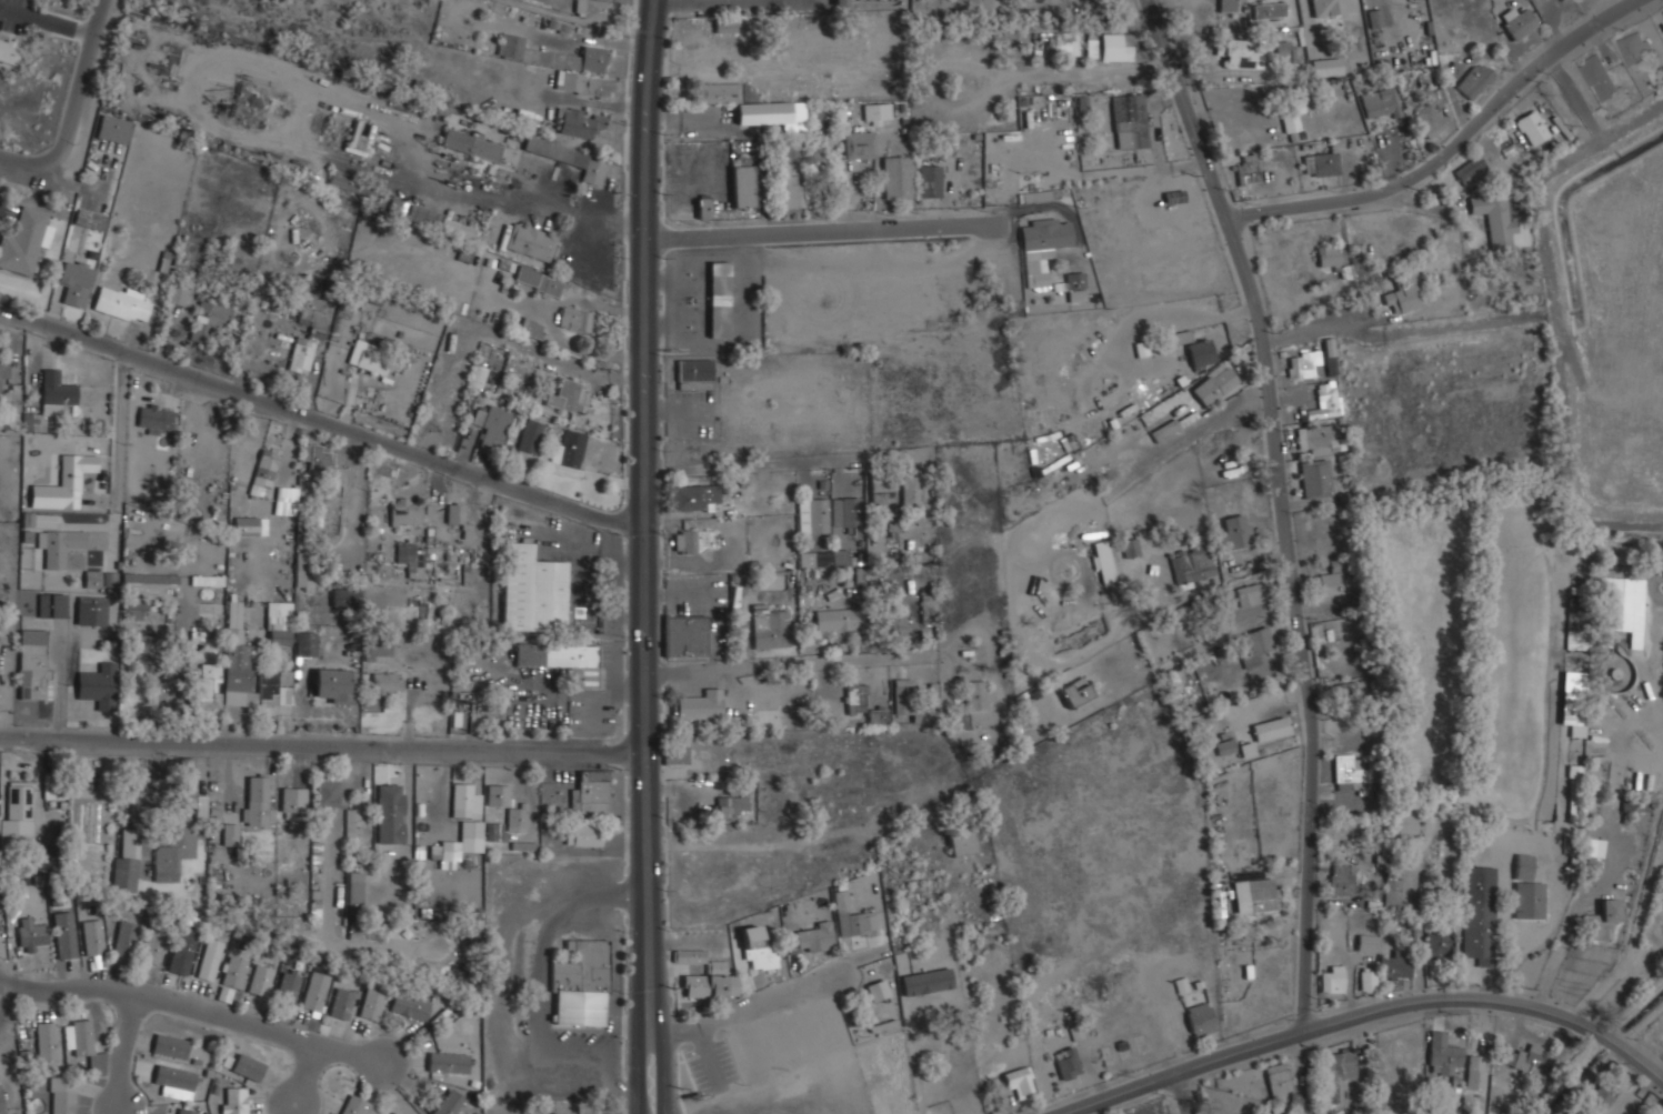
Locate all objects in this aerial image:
building: (1562, 0)
road: (698, 1)
road: (705, 2)
building: (841, 2)
building: (1228, 6)
building: (1333, 7)
building: (593, 9)
building: (1270, 9)
building: (1375, 18)
building: (1521, 23)
building: (725, 24)
building: (1066, 43)
building: (1092, 46)
building: (699, 48)
building: (1113, 48)
building: (1635, 48)
building: (9, 50)
building: (1236, 52)
building: (1284, 52)
building: (564, 66)
building: (1326, 67)
building: (1600, 78)
building: (1475, 80)
building: (1381, 102)
building: (750, 103)
road: (74, 104)
building: (876, 113)
building: (1291, 116)
building: (1430, 120)
building: (1130, 121)
building: (580, 122)
building: (113, 128)
building: (1532, 128)
building: (360, 138)
building: (471, 143)
building: (859, 144)
road: (1449, 149)
building: (570, 158)
building: (1322, 163)
building: (1248, 169)
building: (1471, 169)
building: (898, 177)
building: (930, 180)
building: (351, 185)
building: (743, 185)
building: (787, 188)
building: (1175, 195)
building: (398, 207)
building: (703, 207)
building: (90, 219)
building: (1495, 219)
building: (439, 222)
road: (823, 230)
building: (24, 241)
building: (530, 241)
building: (1043, 247)
building: (1338, 260)
building: (539, 281)
building: (74, 282)
building: (1075, 285)
building: (1404, 293)
building: (177, 294)
building: (719, 299)
building: (123, 303)
building: (575, 319)
building: (208, 320)
building: (532, 328)
building: (308, 339)
building: (1192, 352)
building: (372, 359)
building: (1302, 363)
building: (1331, 365)
building: (483, 369)
building: (694, 373)
building: (1215, 385)
building: (9, 390)
building: (568, 395)
building: (1323, 399)
building: (52, 400)
building: (157, 419)
road: (317, 419)
building: (492, 425)
building: (1165, 429)
building: (531, 432)
road: (121, 435)
building: (1319, 439)
building: (569, 449)
building: (315, 459)
road: (774, 463)
building: (266, 469)
building: (339, 476)
building: (1315, 478)
building: (64, 483)
building: (882, 489)
building: (291, 493)
building: (911, 493)
building: (693, 496)
road: (1284, 506)
building: (411, 513)
building: (455, 514)
building: (812, 515)
road: (1041, 515)
building: (44, 520)
building: (843, 524)
building: (250, 525)
building: (1233, 531)
building: (697, 541)
building: (59, 545)
building: (1132, 548)
road: (637, 556)
road: (651, 556)
building: (412, 559)
building: (812, 559)
building: (1103, 561)
building: (1193, 564)
building: (305, 570)
building: (151, 578)
building: (92, 579)
building: (110, 579)
building: (1334, 579)
building: (207, 580)
building: (539, 594)
building: (1250, 594)
building: (342, 596)
building: (53, 604)
building: (133, 609)
building: (92, 611)
building: (1621, 612)
building: (836, 619)
building: (279, 623)
building: (900, 624)
building: (771, 629)
building: (1576, 635)
building: (687, 636)
building: (305, 643)
building: (140, 645)
building: (378, 646)
building: (1254, 646)
building: (563, 660)
building: (32, 663)
road: (754, 665)
building: (251, 670)
road: (62, 680)
building: (387, 682)
building: (333, 685)
building: (98, 686)
building: (206, 686)
building: (1075, 692)
building: (1346, 694)
building: (855, 699)
building: (903, 702)
building: (700, 705)
building: (974, 706)
building: (1574, 712)
building: (878, 715)
building: (1270, 727)
road: (325, 744)
building: (1225, 746)
building: (1246, 750)
building: (1634, 753)
building: (675, 755)
building: (1343, 772)
building: (53, 786)
building: (187, 789)
building: (591, 792)
building: (1574, 792)
building: (327, 793)
building: (465, 799)
building: (293, 800)
building: (201, 801)
building: (257, 801)
building: (732, 805)
building: (1635, 805)
building: (18, 814)
building: (390, 814)
building: (517, 815)
building: (1410, 819)
building: (358, 822)
building: (471, 829)
building: (230, 834)
building: (583, 835)
building: (962, 841)
building: (1594, 847)
building: (450, 851)
building: (46, 856)
building: (127, 859)
building: (167, 864)
building: (1591, 870)
building: (1341, 880)
building: (354, 887)
building: (1393, 889)
building: (1529, 889)
building: (1256, 894)
building: (841, 901)
building: (1480, 914)
building: (1602, 920)
building: (862, 923)
building: (368, 932)
building: (32, 934)
building: (64, 934)
building: (92, 936)
building: (124, 937)
building: (811, 939)
road: (1567, 939)
building: (1368, 942)
building: (1437, 942)
building: (154, 944)
building: (757, 949)
building: (183, 951)
building: (690, 956)
building: (210, 960)
building: (1395, 966)
building: (234, 971)
building: (260, 978)
building: (1333, 980)
building: (1368, 981)
building: (926, 982)
building: (581, 983)
building: (709, 983)
building: (288, 985)
building: (315, 990)
building: (878, 991)
road: (6, 998)
building: (371, 1002)
building: (342, 1003)
building: (410, 1005)
road: (198, 1007)
building: (1196, 1007)
road: (1371, 1013)
road: (730, 1015)
building: (82, 1037)
building: (46, 1040)
building: (171, 1046)
road: (122, 1050)
building: (1443, 1054)
building: (1532, 1060)
building: (448, 1063)
building: (1068, 1063)
building: (249, 1066)
road: (305, 1072)
building: (1476, 1073)
building: (1338, 1074)
building: (1279, 1080)
building: (1019, 1081)
building: (173, 1082)
building: (62, 1095)
road: (1176, 1095)
building: (1298, 1098)
building: (236, 1101)
building: (1597, 1101)
building: (2, 1102)
building: (449, 1103)
building: (186, 1112)

